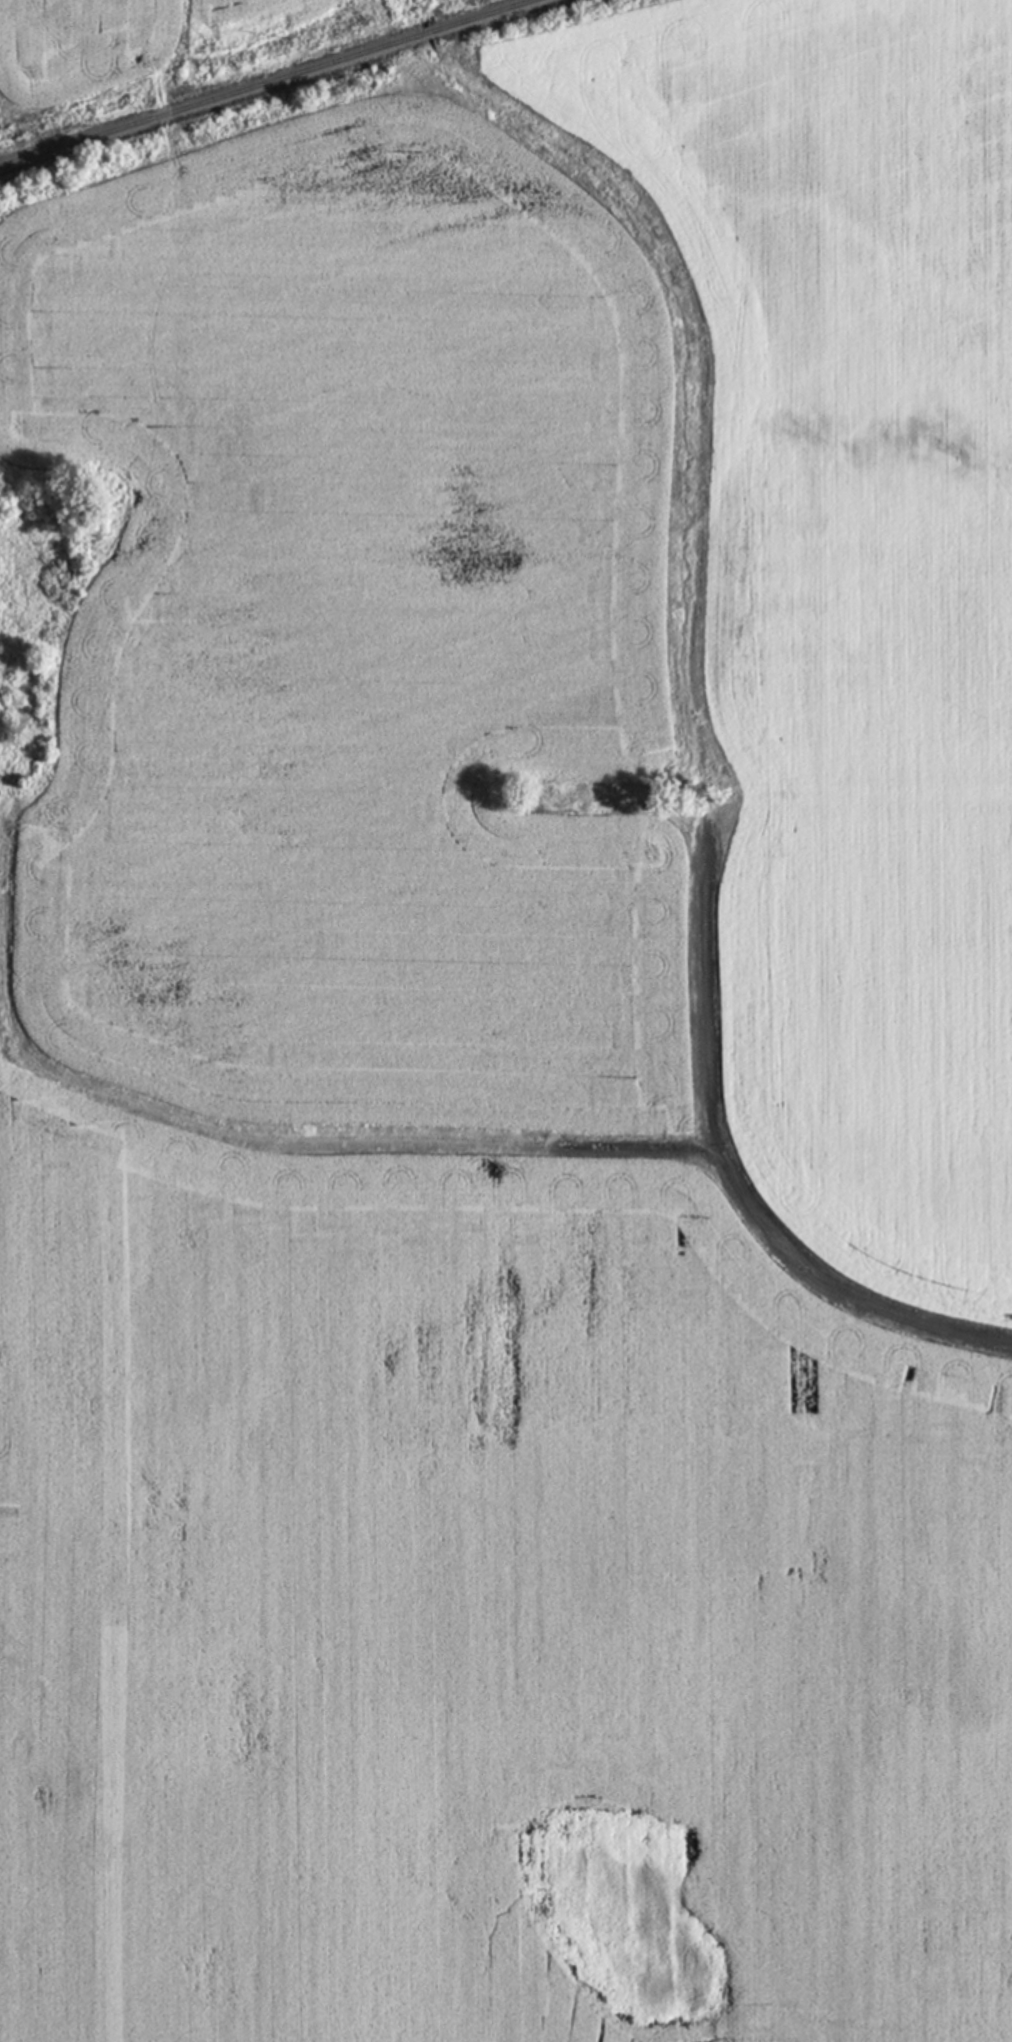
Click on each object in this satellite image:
road: (154, 71)
railway: (264, 82)

